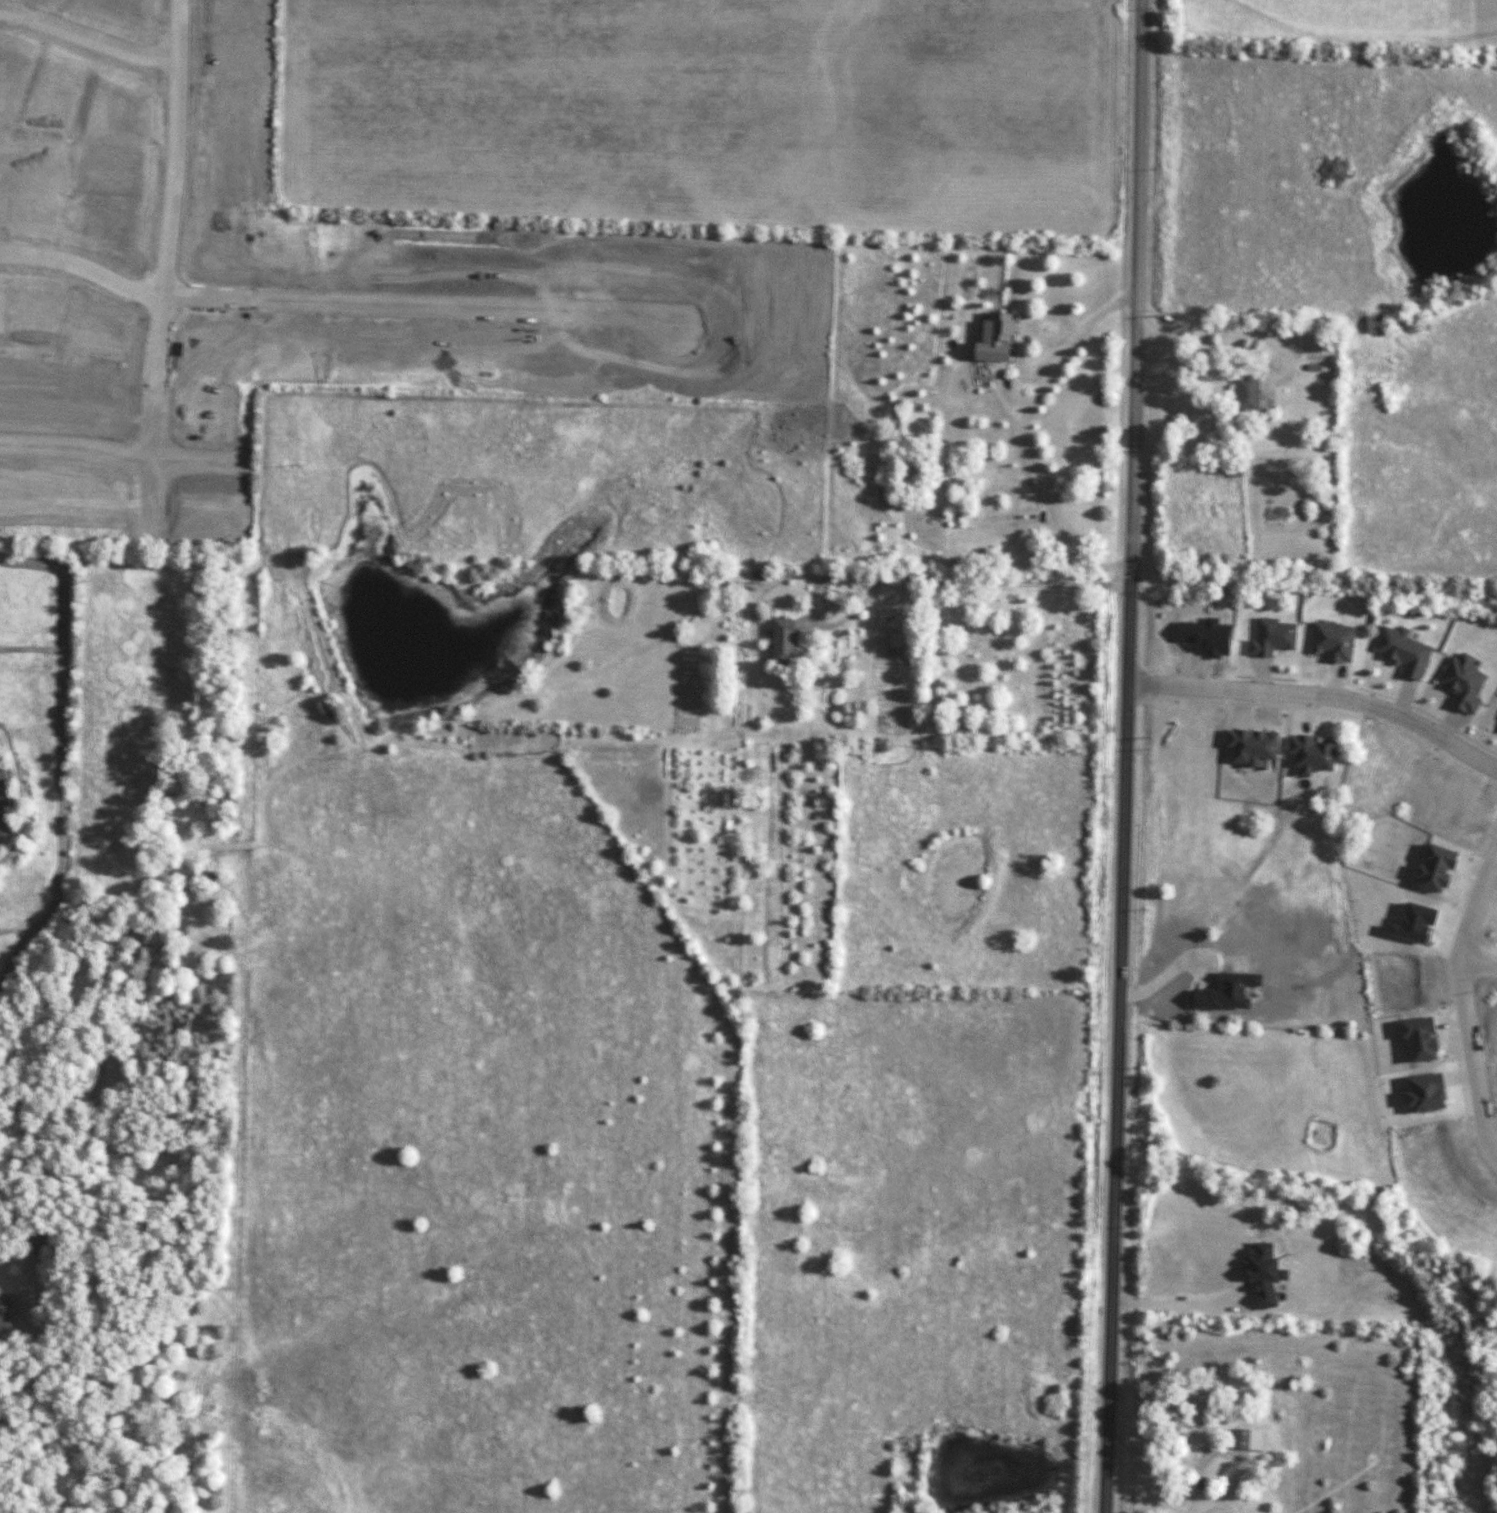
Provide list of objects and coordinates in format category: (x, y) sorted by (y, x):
road: (87, 46)
building: (8, 70)
building: (114, 172)
building: (226, 184)
building: (31, 210)
building: (113, 229)
road: (160, 265)
road: (1132, 289)
road: (330, 310)
building: (1374, 324)
road: (1218, 328)
building: (989, 338)
building: (1242, 393)
road: (1020, 436)
road: (119, 463)
building: (1232, 470)
road: (1315, 589)
building: (779, 640)
road: (1319, 697)
building: (1310, 756)
building: (1242, 801)
road: (1477, 958)
road: (1465, 1001)
road: (1117, 1045)
building: (39, 1243)
road: (1174, 1303)
building: (6, 1313)
road: (35, 1406)
building: (1247, 1439)

